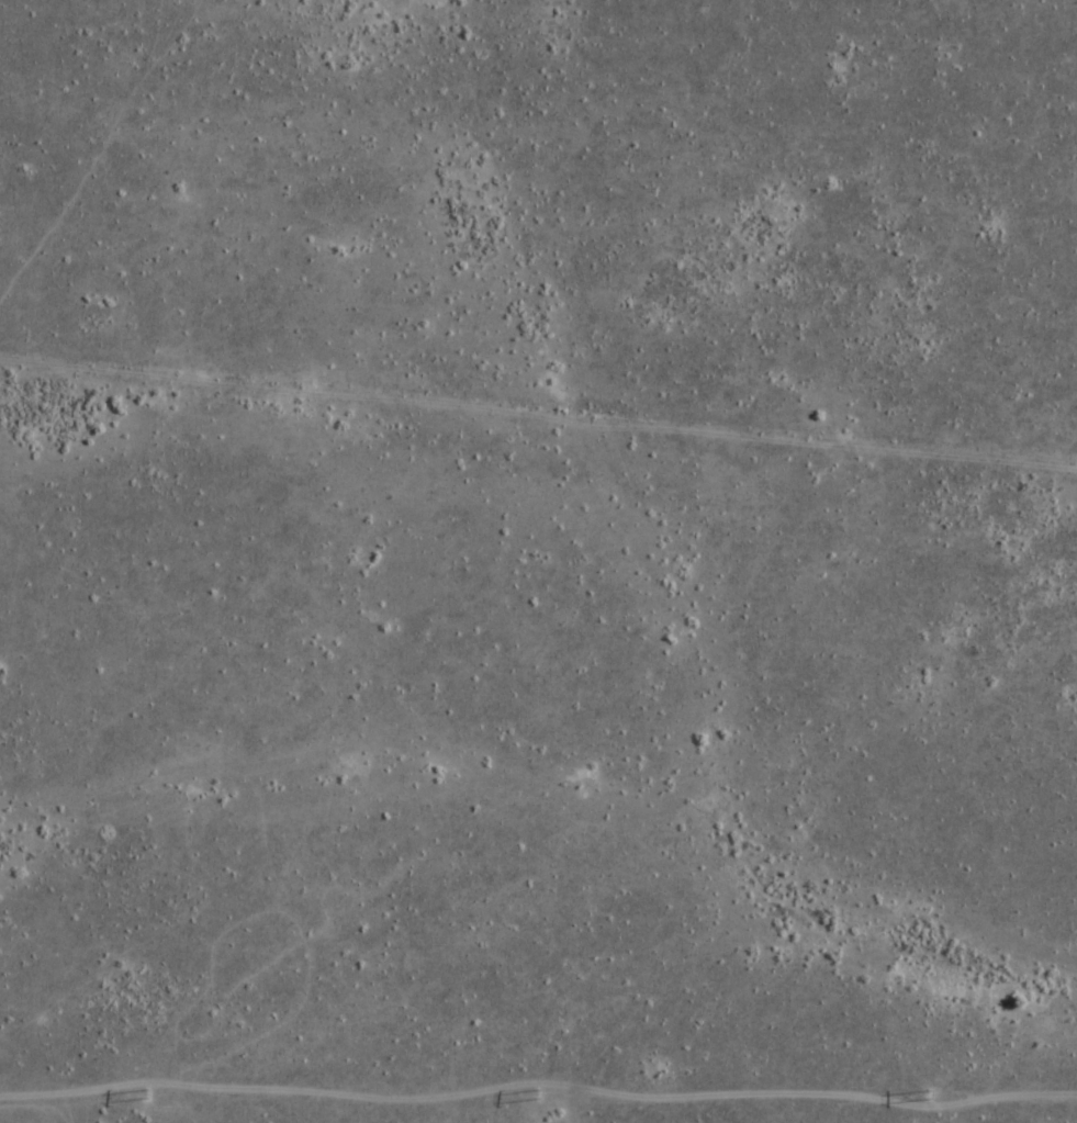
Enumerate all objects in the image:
power tower: (146, 1093)
power tower: (537, 1093)
power tower: (931, 1096)

